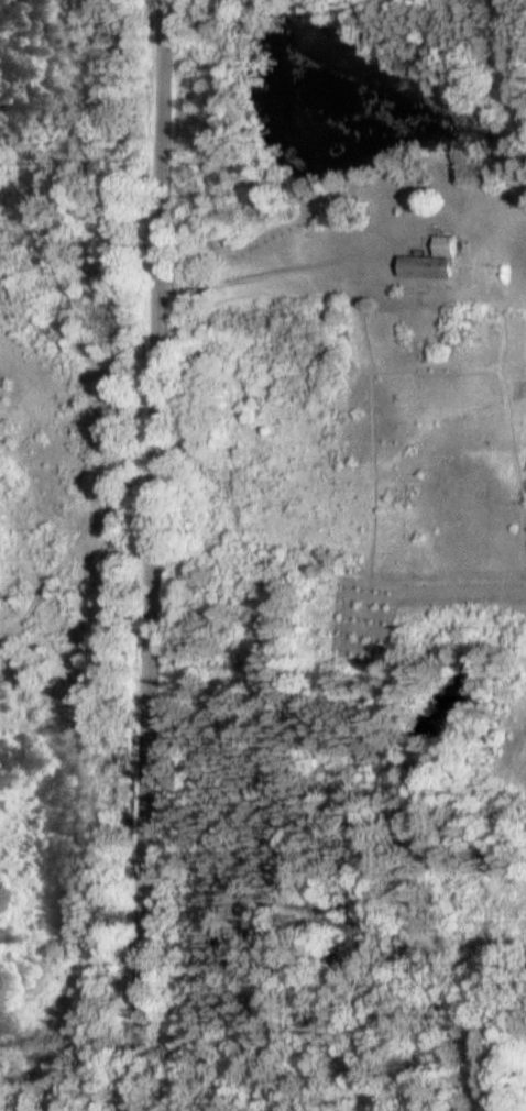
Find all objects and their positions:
building: (432, 262)
road: (151, 554)

